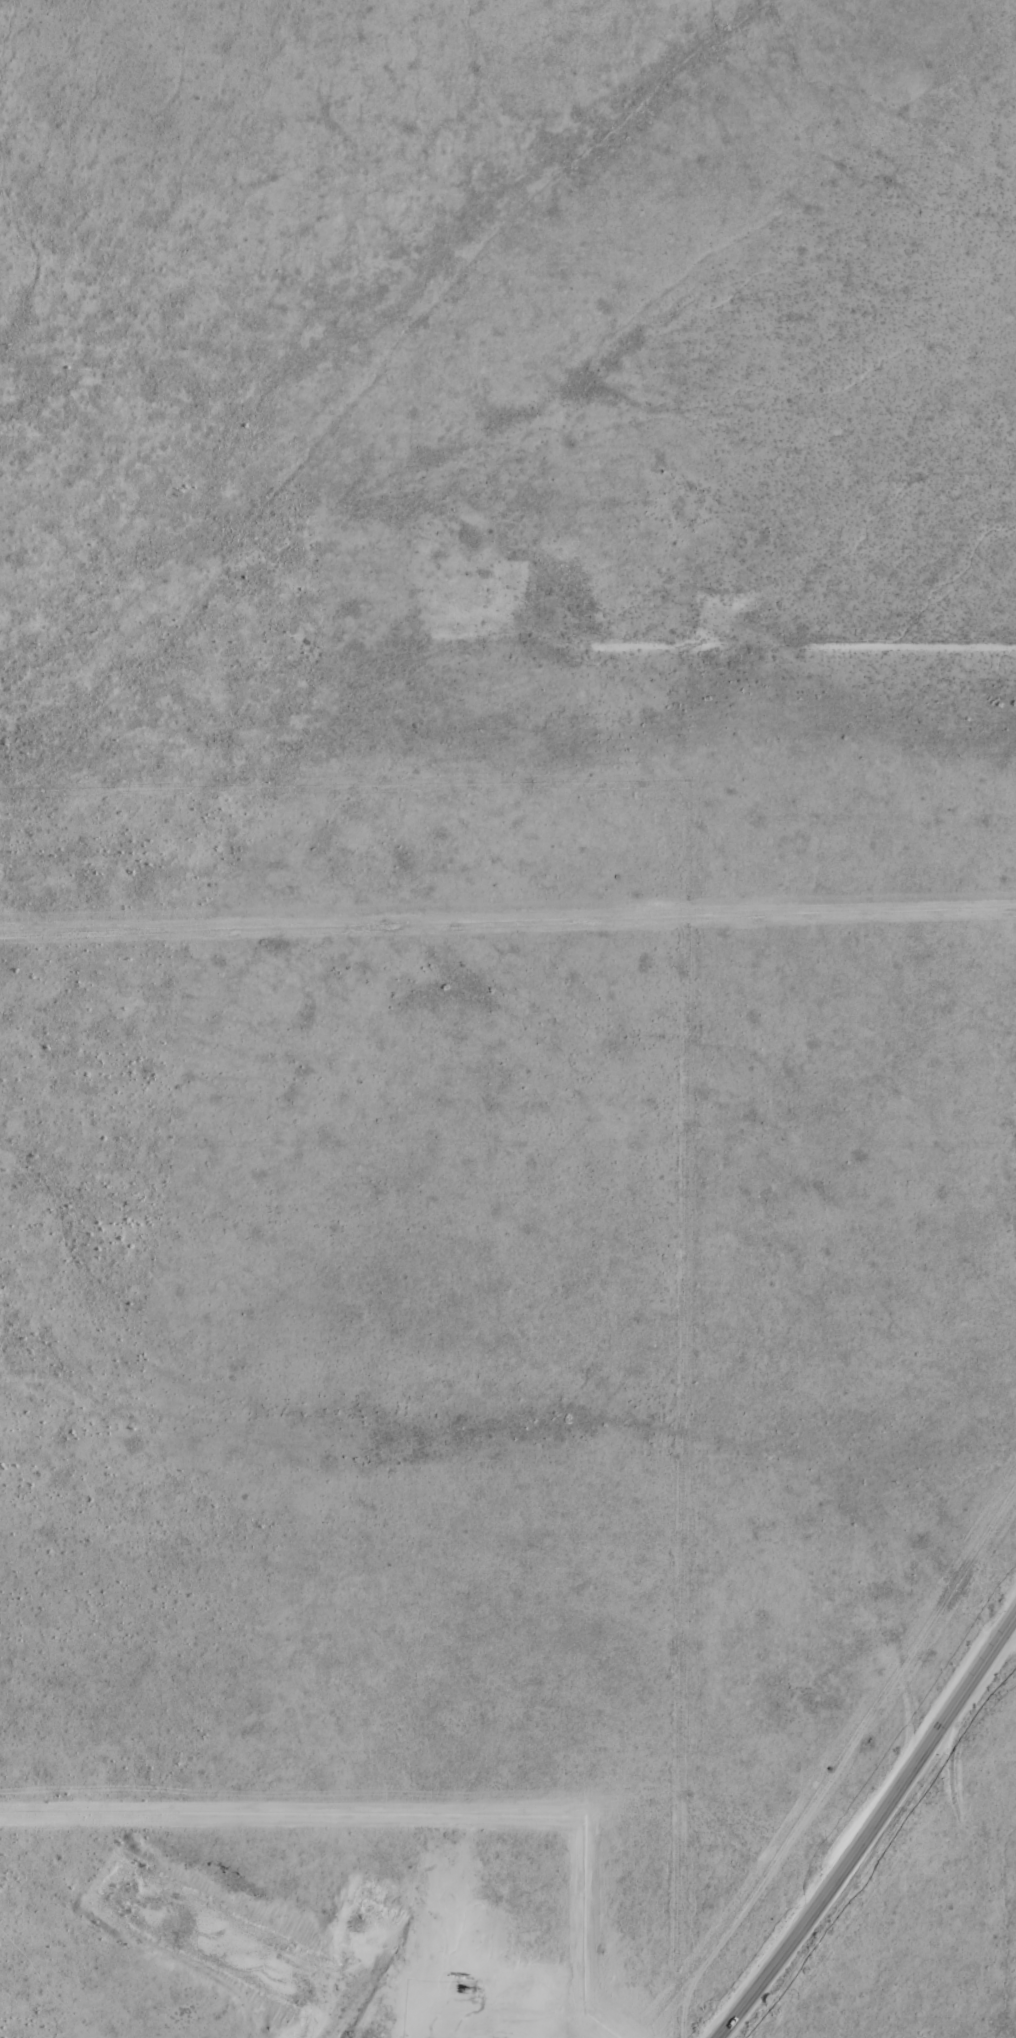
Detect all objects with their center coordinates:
road: (1013, 1635)
road: (871, 1831)
petroleum well: (472, 1987)
road: (506, 1989)

